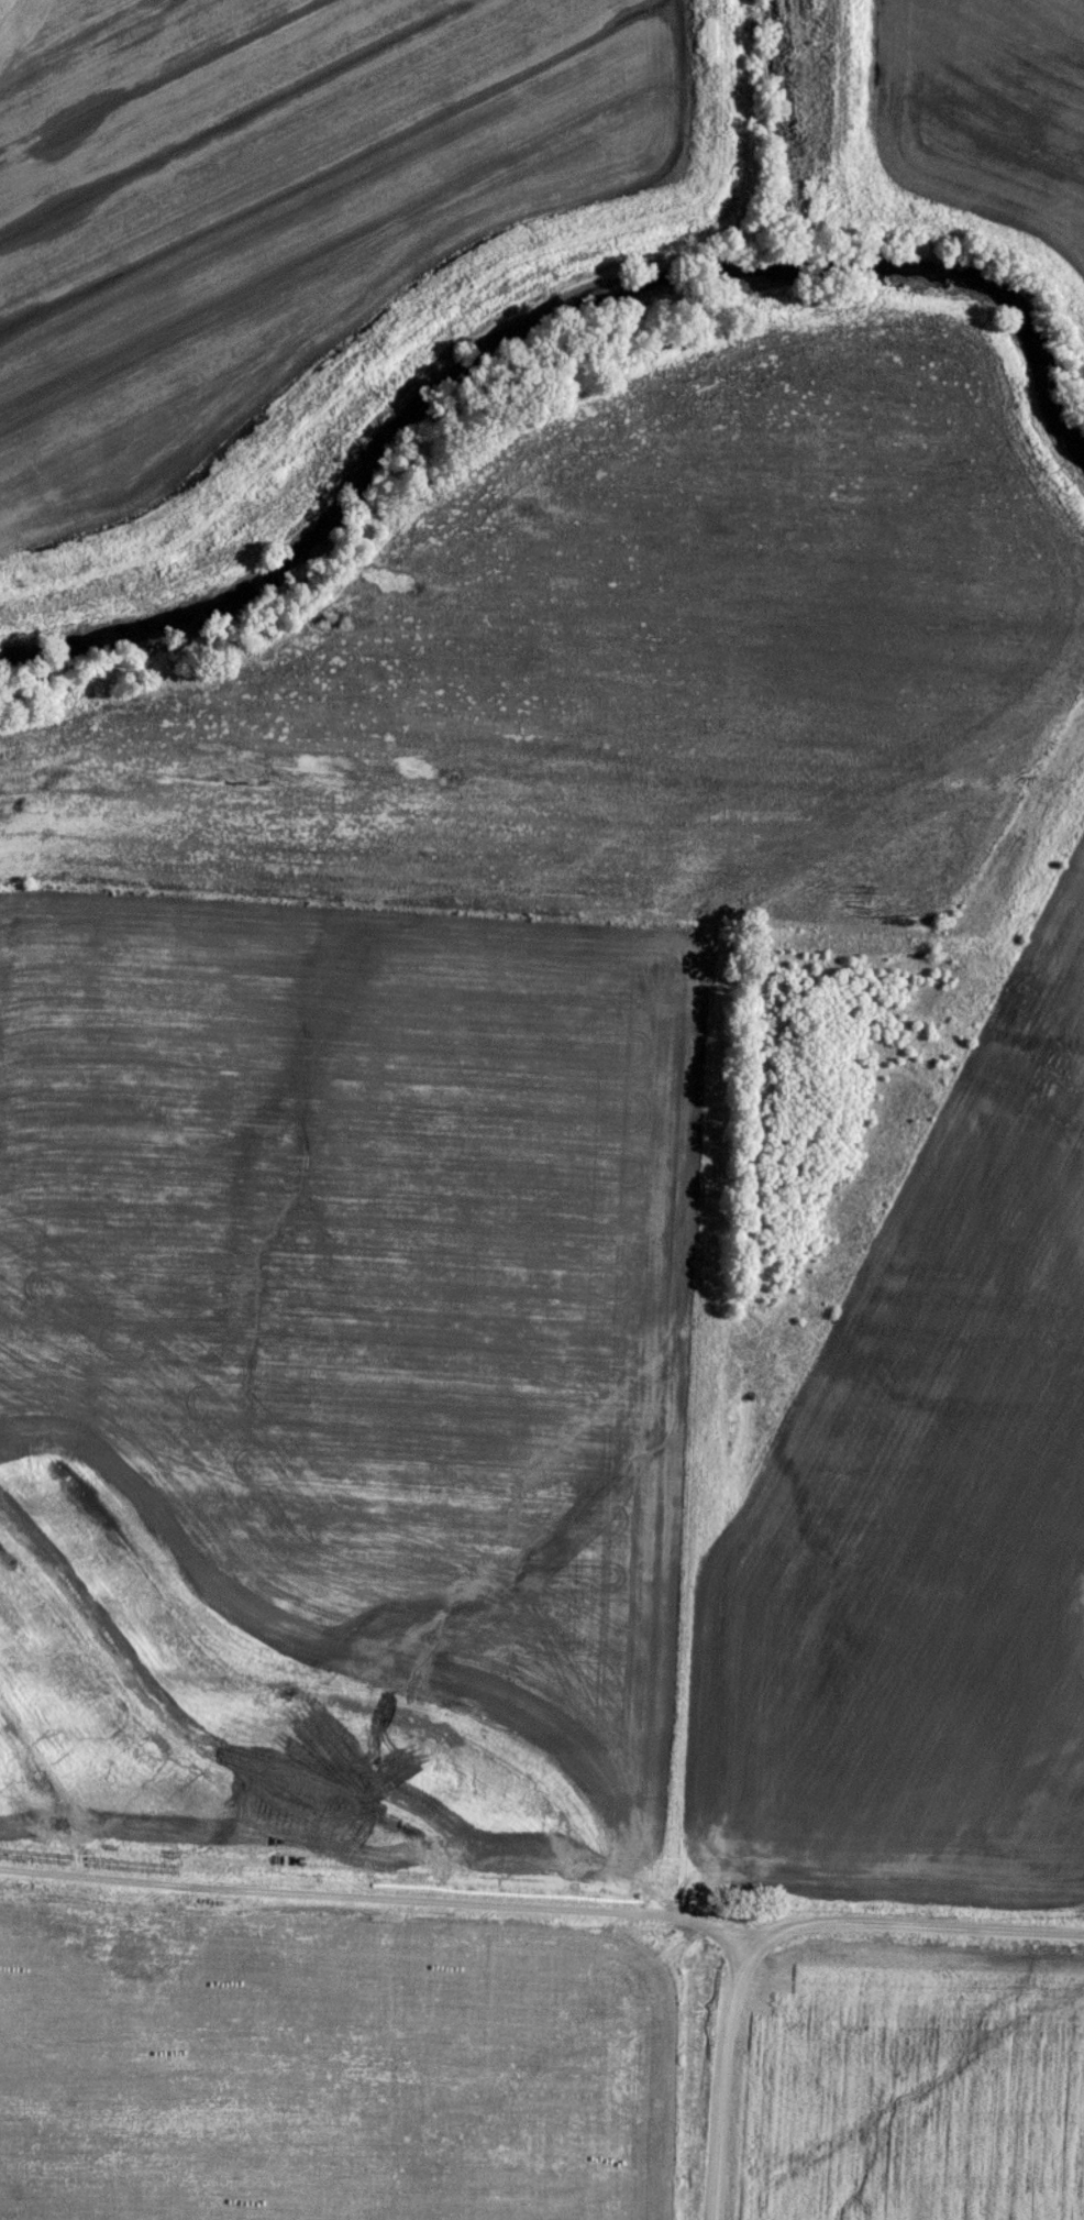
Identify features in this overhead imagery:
road: (370, 1902)
road: (771, 1927)

